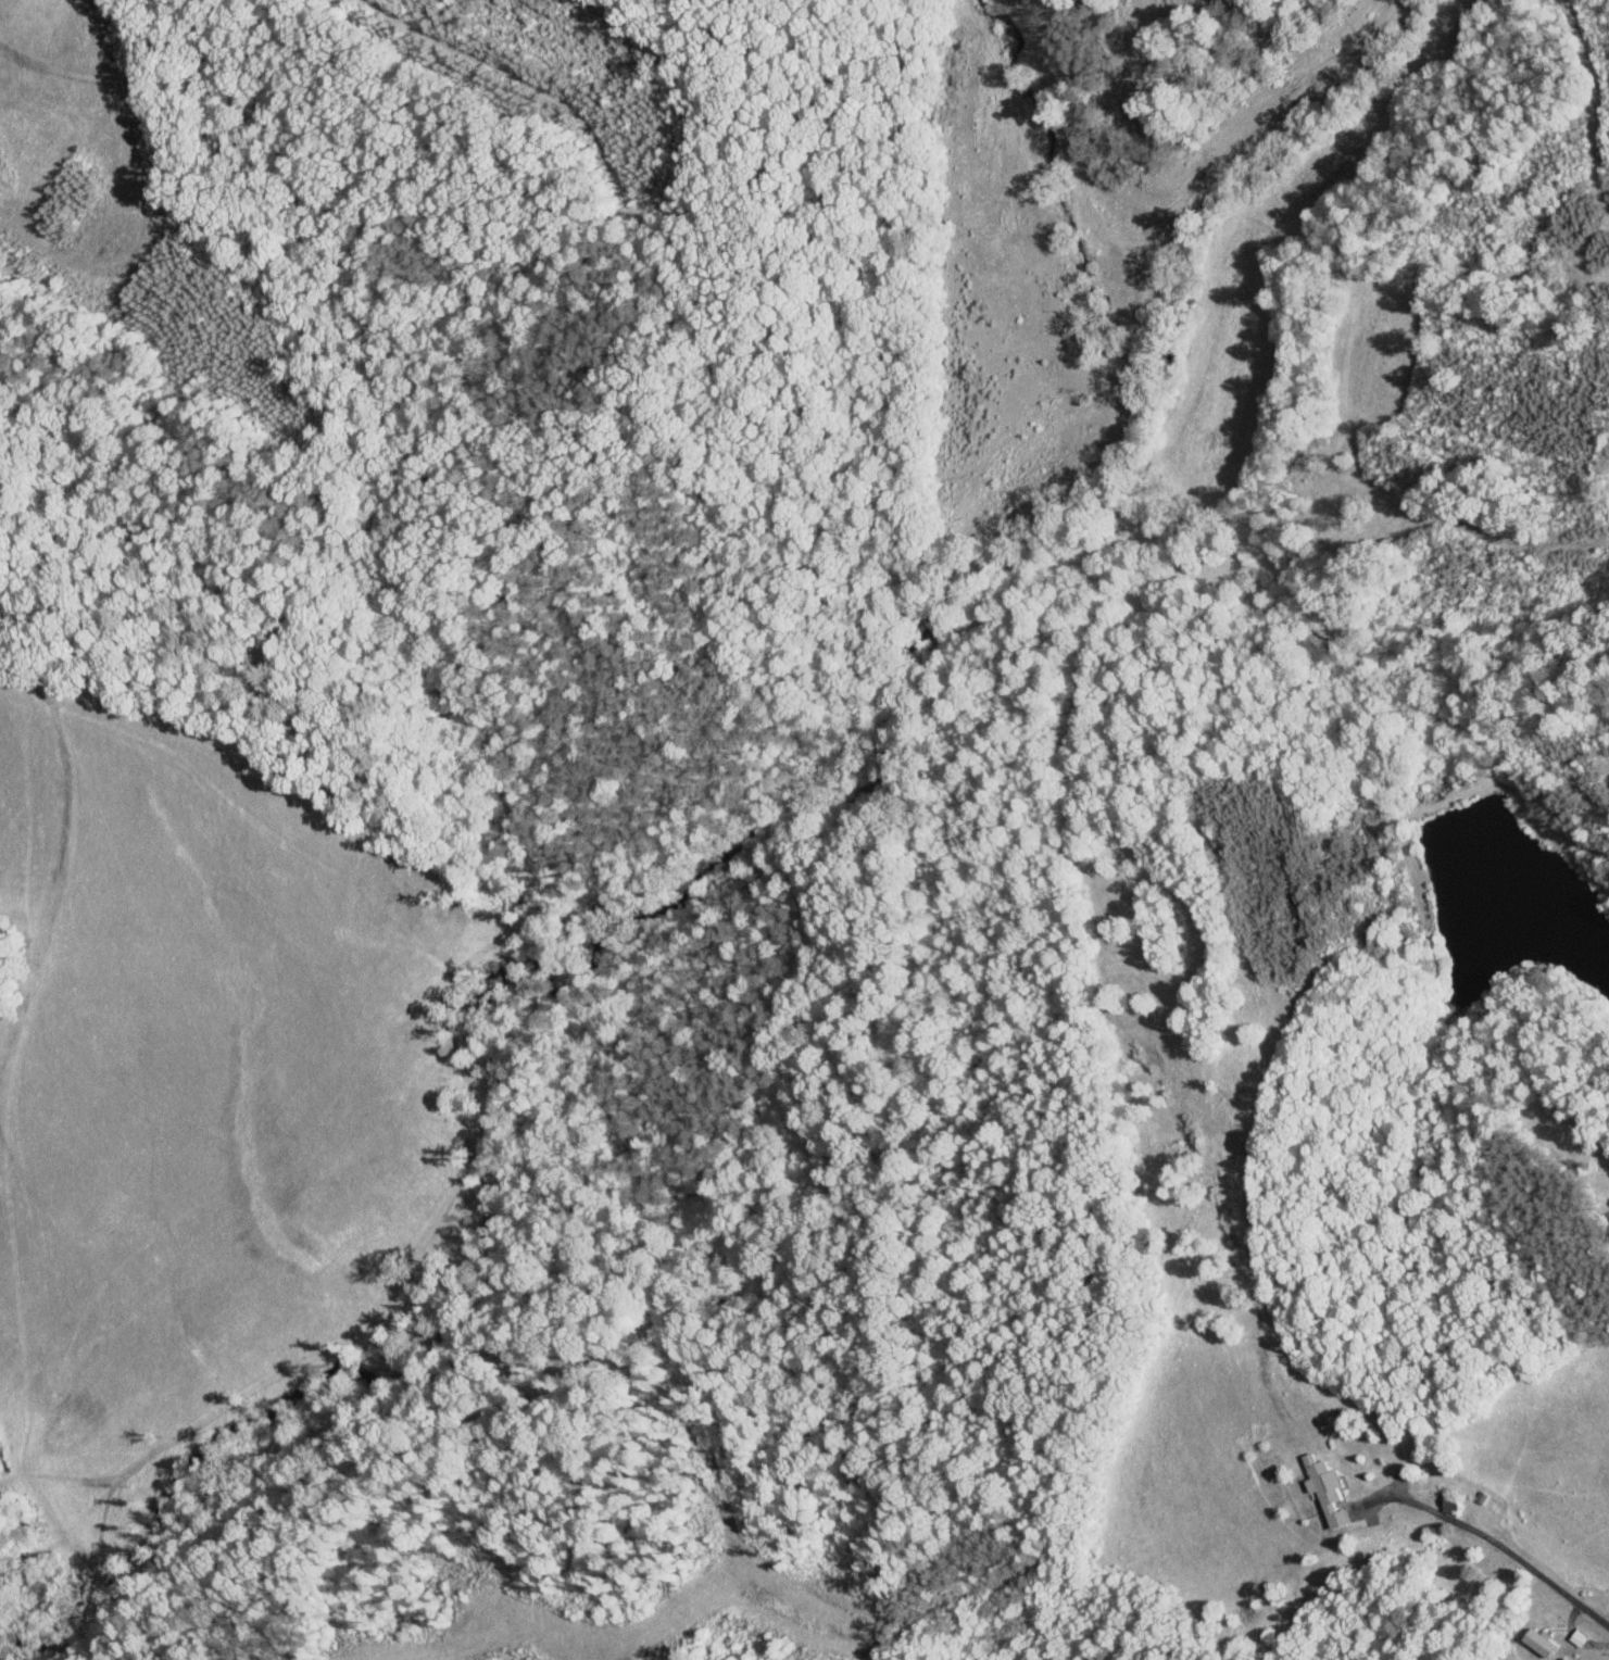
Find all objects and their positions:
building: (1323, 1487)
road: (1504, 1550)
building: (1536, 1639)

